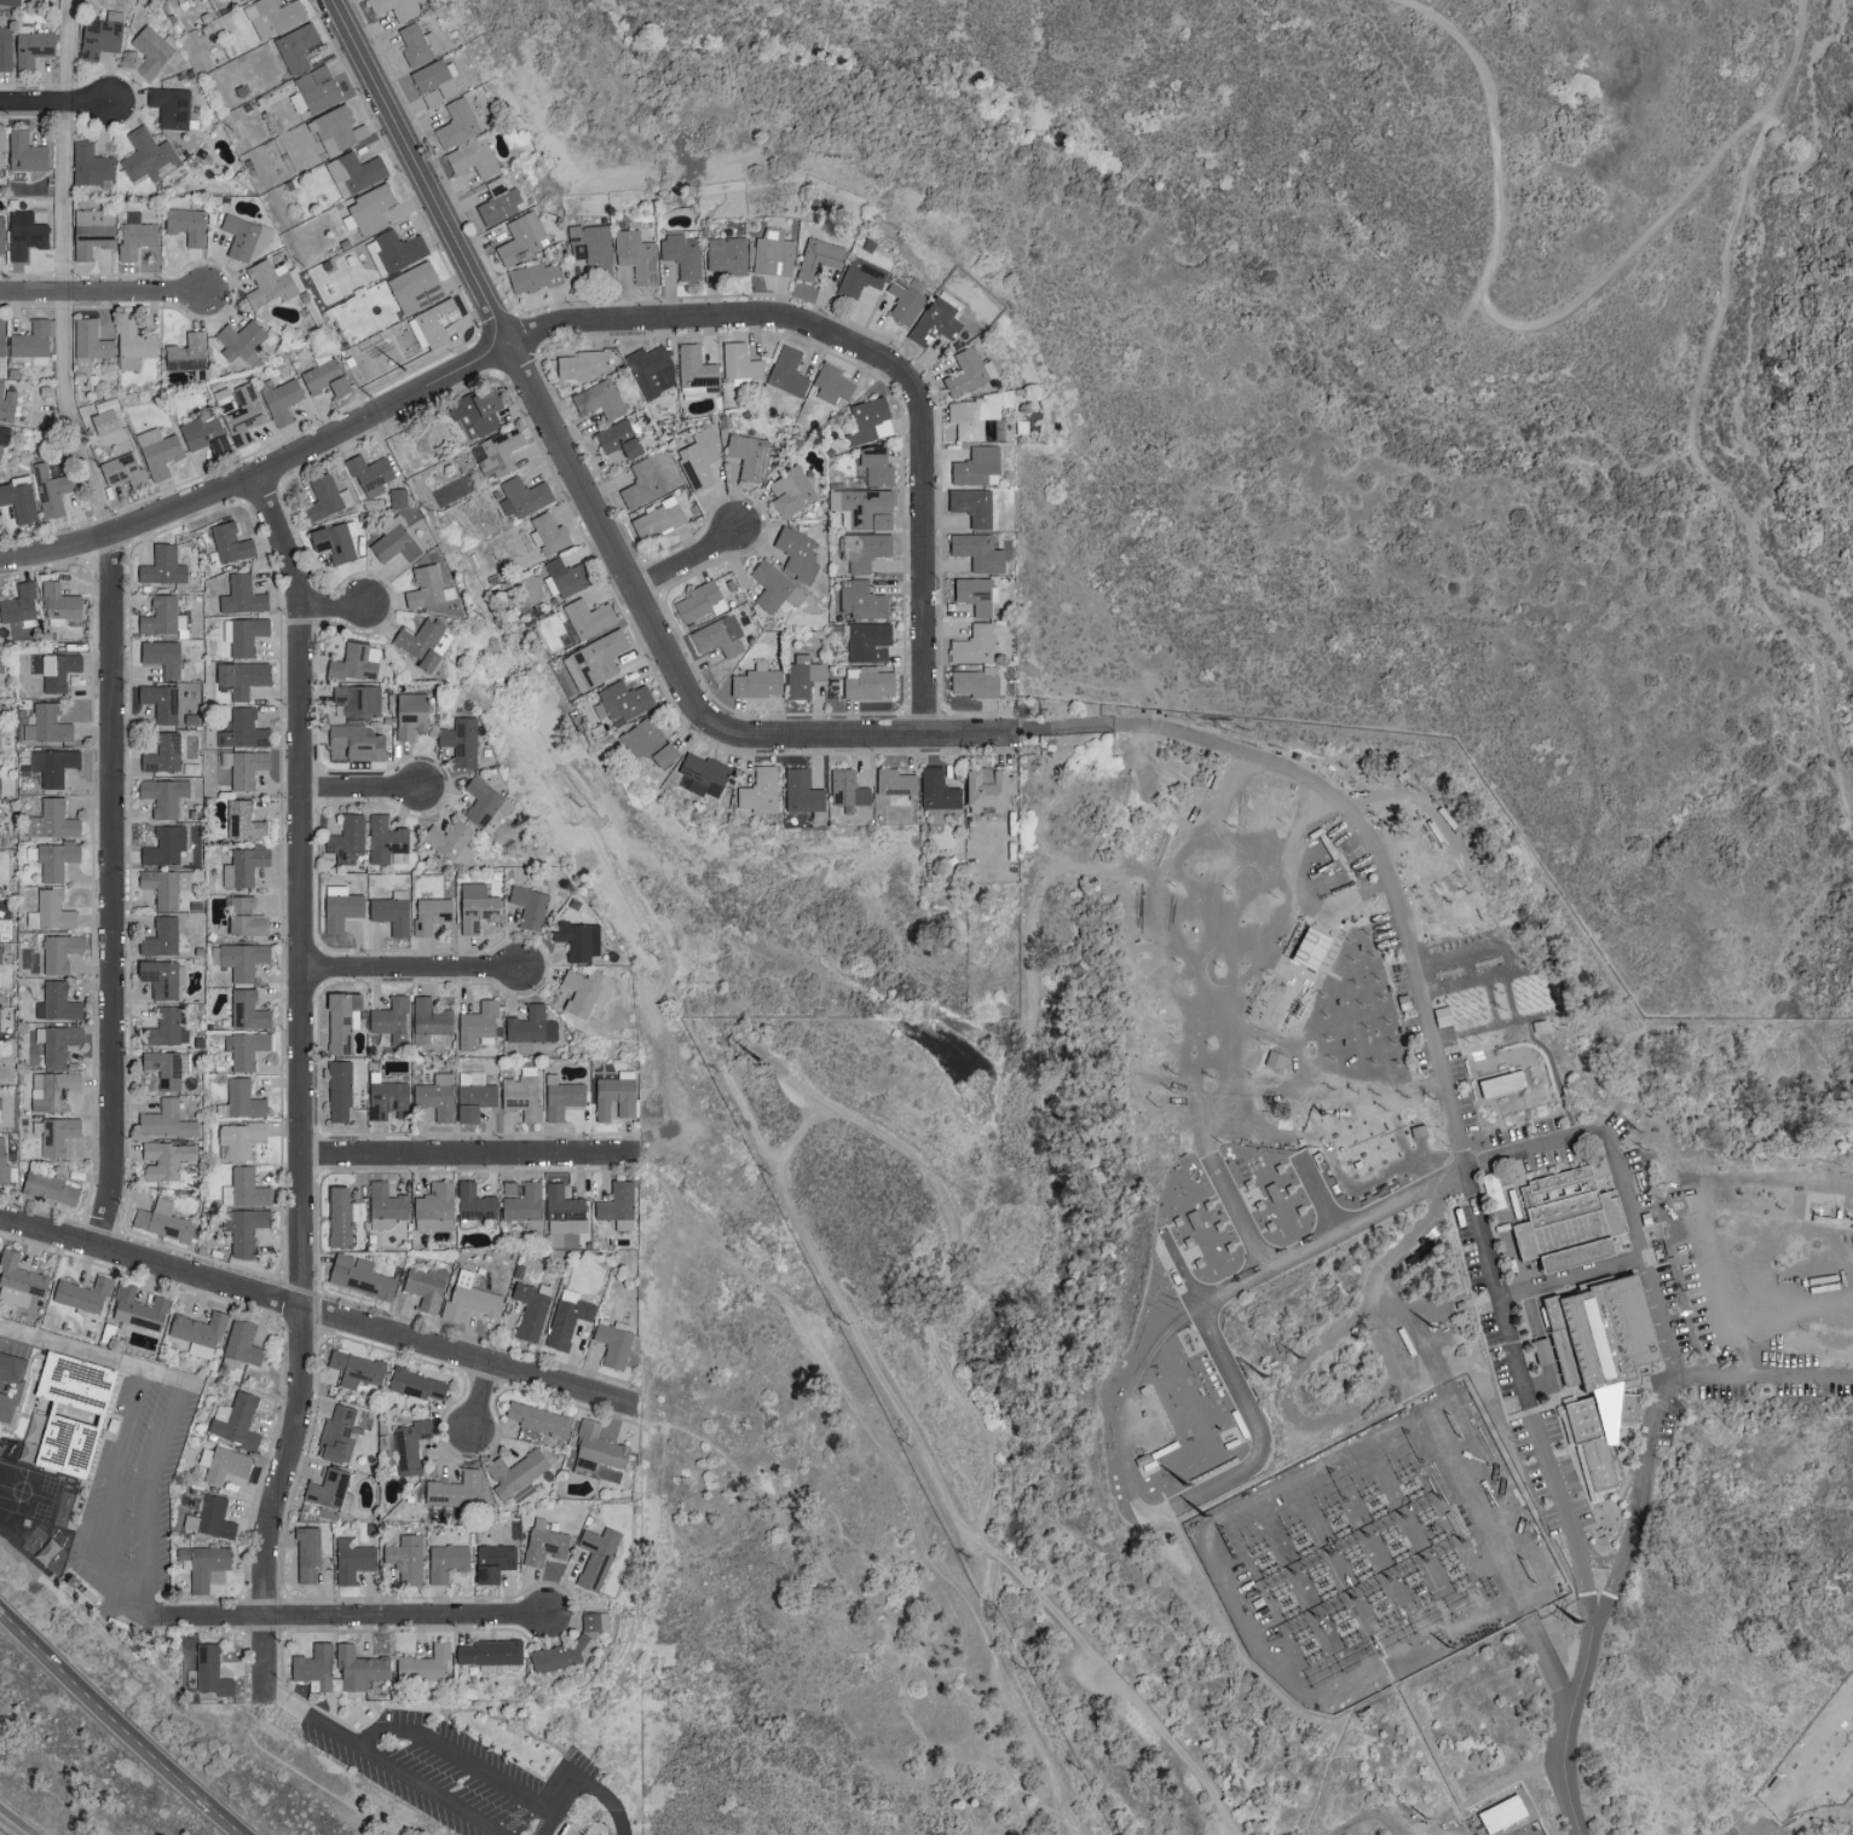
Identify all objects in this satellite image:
building: (237, 0)
building: (8, 1)
building: (273, 17)
building: (98, 35)
building: (414, 44)
building: (294, 46)
building: (4, 47)
building: (30, 47)
building: (150, 48)
building: (432, 81)
building: (314, 88)
road: (53, 99)
building: (168, 106)
building: (455, 123)
building: (335, 129)
road: (1767, 146)
building: (0, 149)
building: (22, 154)
building: (146, 156)
building: (471, 157)
building: (88, 166)
building: (352, 172)
building: (496, 201)
building: (366, 209)
building: (184, 225)
building: (91, 231)
building: (23, 232)
building: (0, 235)
building: (134, 235)
building: (242, 238)
building: (519, 238)
building: (589, 247)
building: (397, 249)
building: (772, 253)
building: (680, 254)
building: (725, 254)
building: (634, 255)
building: (816, 258)
road: (65, 267)
building: (530, 277)
building: (859, 278)
building: (266, 283)
building: (414, 287)
road: (100, 290)
building: (904, 301)
road: (617, 317)
building: (432, 323)
building: (934, 323)
road: (1509, 323)
building: (236, 340)
building: (1, 341)
building: (30, 342)
building: (87, 344)
building: (131, 344)
building: (184, 353)
building: (738, 362)
building: (578, 364)
power tower: (409, 369)
building: (651, 370)
building: (694, 370)
building: (785, 371)
building: (966, 371)
building: (322, 376)
building: (830, 382)
road: (527, 383)
building: (279, 399)
building: (600, 399)
building: (6, 404)
building: (474, 411)
building: (242, 412)
building: (972, 414)
building: (102, 422)
building: (202, 432)
building: (616, 439)
building: (0, 446)
building: (157, 451)
building: (497, 451)
building: (746, 455)
building: (697, 458)
building: (873, 466)
building: (975, 467)
building: (122, 471)
building: (368, 474)
building: (640, 484)
building: (51, 490)
building: (790, 491)
building: (521, 496)
building: (324, 497)
building: (19, 501)
building: (970, 506)
building: (864, 508)
building: (656, 519)
building: (545, 533)
building: (334, 541)
building: (393, 541)
building: (227, 542)
building: (864, 550)
building: (975, 552)
building: (795, 553)
road: (689, 562)
building: (162, 567)
building: (561, 578)
building: (426, 588)
building: (774, 588)
building: (974, 594)
building: (241, 595)
building: (859, 600)
building: (697, 602)
building: (18, 604)
road: (333, 610)
building: (161, 617)
building: (585, 618)
building: (242, 635)
building: (716, 636)
building: (422, 642)
building: (867, 642)
building: (971, 645)
building: (160, 657)
building: (594, 659)
building: (353, 663)
building: (0, 668)
building: (57, 670)
building: (801, 676)
building: (241, 677)
building: (755, 681)
building: (974, 682)
building: (865, 683)
building: (354, 700)
building: (158, 702)
building: (620, 702)
building: (408, 715)
building: (44, 725)
building: (242, 729)
road: (883, 739)
building: (457, 740)
building: (354, 741)
building: (648, 744)
building: (161, 754)
building: (51, 766)
building: (243, 767)
building: (700, 773)
building: (893, 783)
building: (844, 789)
building: (936, 789)
building: (983, 789)
road: (358, 791)
building: (757, 791)
building: (799, 791)
building: (161, 796)
building: (481, 803)
building: (50, 820)
road: (1360, 820)
building: (242, 821)
building: (345, 839)
building: (383, 839)
building: (449, 842)
building: (162, 846)
building: (53, 860)
building: (242, 866)
building: (162, 885)
road: (111, 888)
building: (337, 907)
building: (474, 907)
building: (527, 907)
building: (48, 912)
building: (388, 912)
building: (428, 914)
building: (242, 918)
building: (158, 937)
building: (577, 940)
building: (1306, 948)
building: (57, 953)
building: (242, 959)
building: (0, 963)
road: (412, 971)
building: (164, 981)
building: (0, 1000)
building: (56, 1003)
building: (246, 1010)
building: (388, 1020)
building: (427, 1020)
building: (340, 1021)
building: (475, 1025)
building: (529, 1026)
building: (164, 1027)
building: (56, 1043)
building: (244, 1049)
power tower: (769, 1061)
building: (164, 1068)
building: (1497, 1081)
road: (302, 1084)
building: (336, 1090)
building: (50, 1091)
building: (520, 1095)
building: (433, 1096)
building: (471, 1096)
building: (559, 1097)
building: (612, 1097)
building: (239, 1100)
building: (386, 1100)
power tower: (1280, 1110)
road: (837, 1116)
building: (163, 1121)
building: (54, 1136)
building: (237, 1138)
road: (1557, 1142)
road: (469, 1156)
building: (163, 1160)
building: (6, 1170)
building: (247, 1188)
building: (47, 1189)
building: (472, 1201)
building: (616, 1204)
building: (383, 1205)
building: (523, 1205)
building: (432, 1206)
building: (561, 1210)
building: (339, 1216)
building: (1562, 1218)
building: (160, 1222)
building: (244, 1229)
road: (1761, 1234)
building: (356, 1275)
building: (18, 1280)
building: (423, 1286)
building: (80, 1293)
building: (467, 1297)
building: (137, 1306)
building: (530, 1309)
road: (312, 1310)
building: (566, 1317)
building: (192, 1333)
building: (239, 1341)
building: (611, 1343)
building: (1539, 1350)
road: (92, 1354)
building: (1595, 1367)
building: (353, 1368)
road: (1766, 1380)
building: (415, 1384)
building: (10, 1385)
road: (481, 1400)
building: (67, 1410)
building: (535, 1418)
building: (235, 1420)
building: (336, 1435)
building: (406, 1446)
building: (596, 1446)
building: (220, 1462)
road: (895, 1470)
road: (148, 1489)
building: (328, 1489)
building: (452, 1489)
power tower: (1184, 1489)
road: (108, 1499)
building: (209, 1518)
parking lot: (133, 1520)
power tower: (1203, 1522)
building: (542, 1542)
building: (305, 1553)
building: (595, 1557)
building: (404, 1558)
building: (350, 1560)
building: (444, 1562)
building: (492, 1562)
building: (201, 1564)
power substation: (1355, 1565)
road: (156, 1612)
road: (359, 1618)
building: (566, 1644)
building: (487, 1651)
building: (422, 1663)
building: (311, 1667)
building: (356, 1667)
building: (208, 1670)
road: (1116, 1680)
road: (106, 1706)
road: (1576, 1724)
road: (463, 1760)
road: (375, 1765)
parking lot: (468, 1778)
road: (1803, 1793)
road: (562, 1795)
road: (607, 1798)
road: (225, 1820)
power tower: (1431, 1823)
power substation: (1513, 1823)
road: (1369, 1828)

